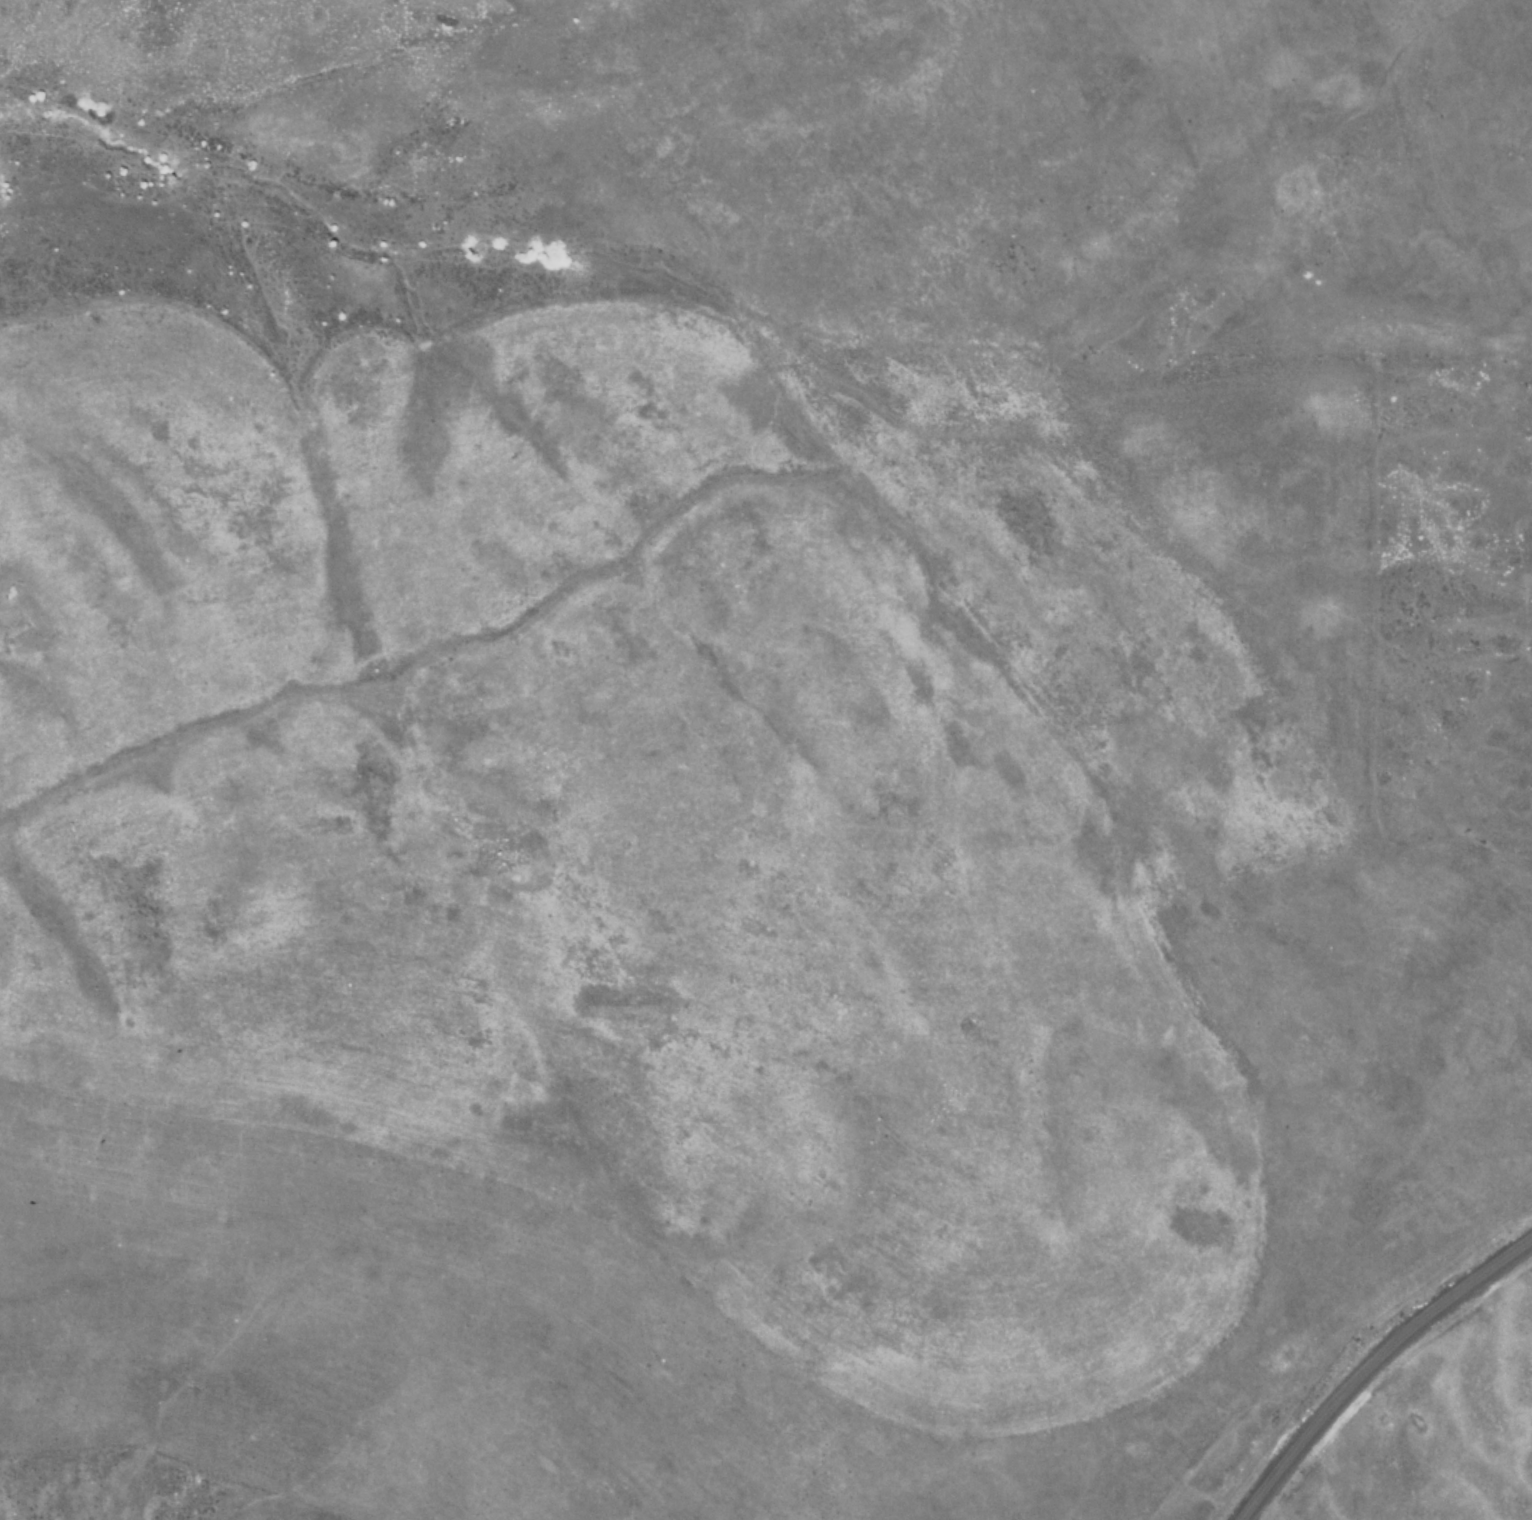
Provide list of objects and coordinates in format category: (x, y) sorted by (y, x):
road: (1370, 1362)

